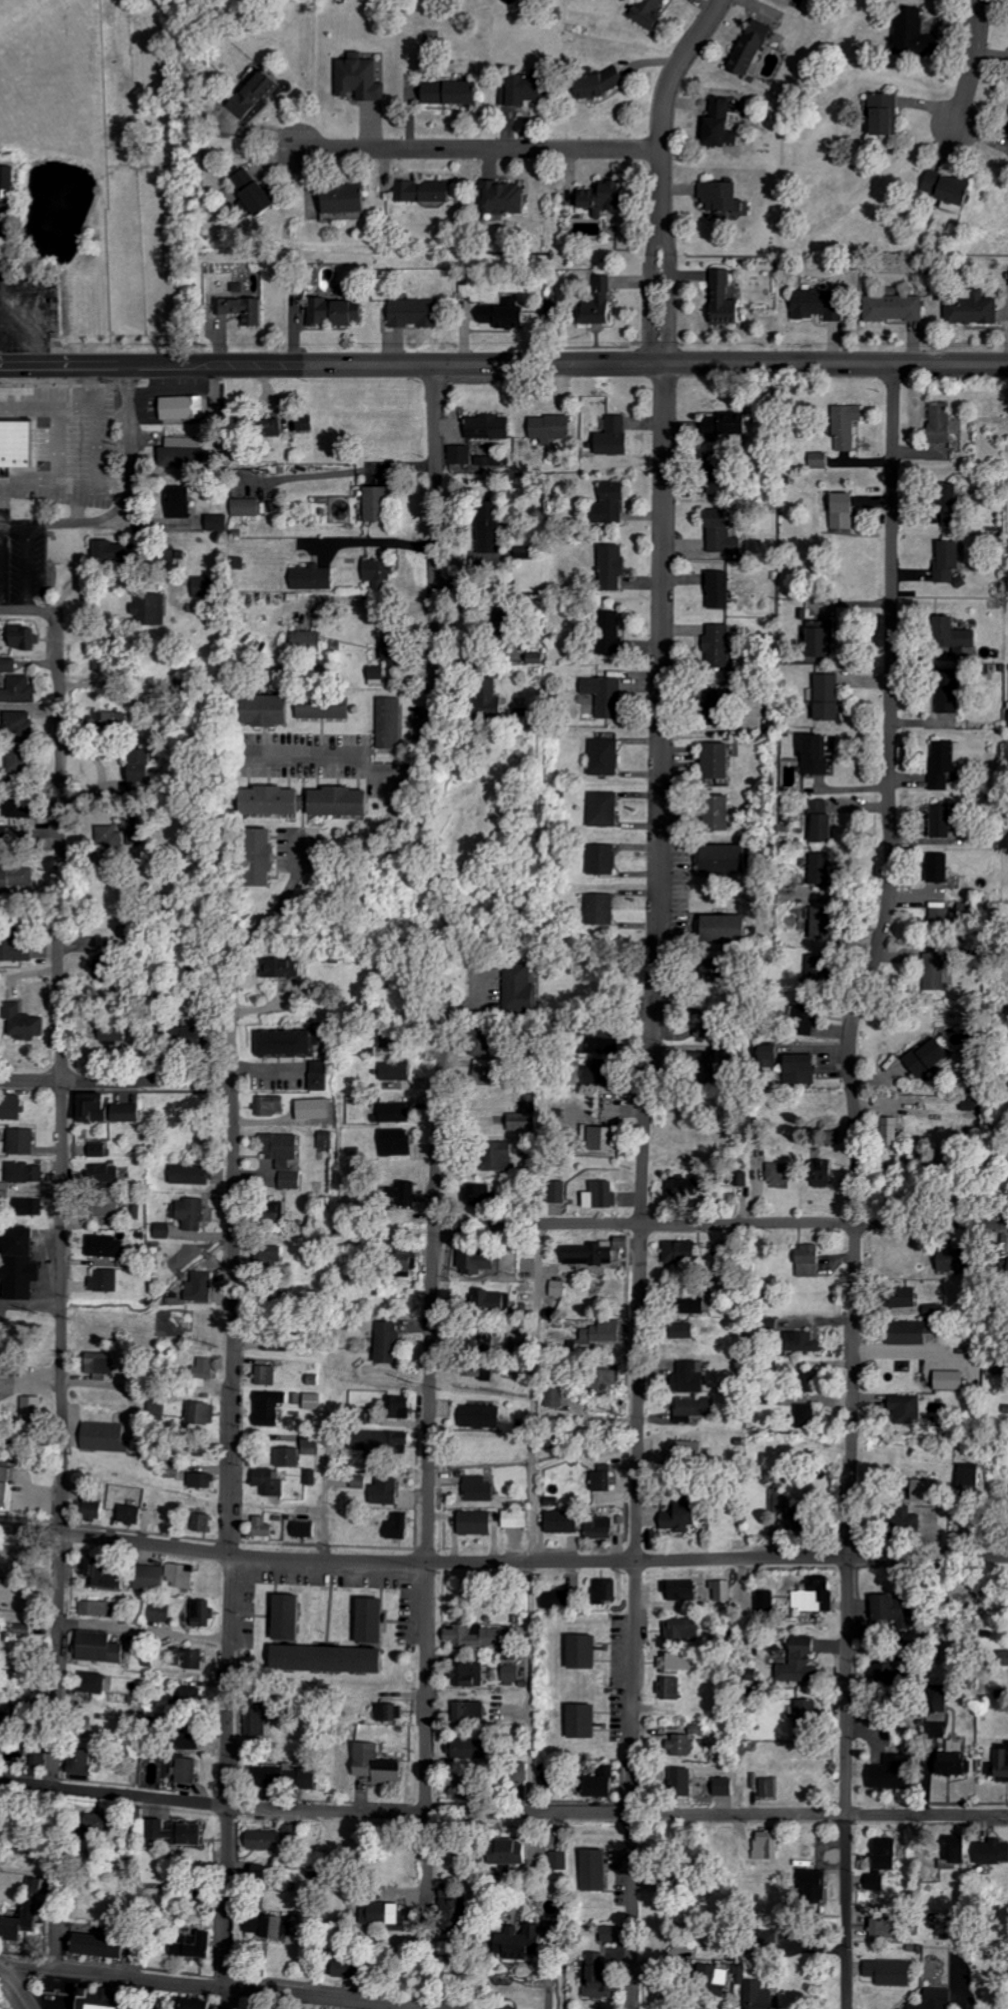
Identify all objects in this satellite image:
building: (653, 14)
building: (916, 33)
building: (431, 36)
building: (757, 48)
road: (972, 66)
building: (364, 78)
building: (607, 81)
building: (528, 85)
building: (456, 92)
building: (259, 95)
building: (889, 112)
building: (724, 122)
road: (480, 146)
road: (661, 174)
building: (8, 180)
building: (954, 187)
building: (429, 190)
building: (259, 192)
building: (508, 197)
building: (609, 197)
building: (349, 198)
building: (727, 200)
building: (726, 298)
building: (604, 301)
parking lot: (22, 303)
building: (823, 304)
building: (897, 308)
building: (976, 309)
building: (336, 311)
building: (418, 313)
road: (35, 314)
building: (508, 314)
road: (35, 349)
road: (503, 363)
road: (46, 404)
building: (198, 407)
building: (944, 422)
building: (308, 424)
building: (733, 424)
building: (849, 426)
building: (491, 427)
building: (617, 437)
building: (14, 442)
building: (183, 457)
building: (461, 457)
building: (822, 460)
road: (94, 469)
road: (128, 475)
building: (719, 484)
building: (183, 502)
building: (380, 503)
building: (612, 504)
building: (248, 507)
building: (954, 508)
building: (847, 510)
road: (12, 522)
building: (219, 523)
road: (34, 524)
building: (492, 532)
building: (724, 533)
road: (368, 543)
building: (112, 551)
building: (528, 552)
building: (951, 561)
building: (241, 563)
building: (617, 566)
road: (24, 568)
building: (380, 572)
building: (316, 578)
building: (209, 587)
building: (723, 590)
road: (359, 602)
building: (155, 609)
road: (27, 611)
building: (514, 626)
building: (615, 632)
building: (961, 633)
building: (25, 637)
building: (826, 638)
building: (311, 640)
building: (721, 644)
building: (396, 651)
building: (969, 654)
building: (100, 663)
building: (9, 667)
building: (379, 676)
road: (427, 685)
building: (20, 690)
building: (953, 690)
building: (496, 695)
building: (609, 695)
building: (831, 697)
building: (721, 707)
building: (327, 708)
building: (272, 710)
building: (113, 720)
building: (393, 723)
building: (23, 726)
road: (665, 733)
building: (821, 754)
building: (607, 757)
road: (332, 759)
building: (24, 760)
building: (722, 760)
building: (946, 763)
building: (143, 770)
building: (279, 800)
building: (344, 803)
building: (23, 808)
building: (606, 809)
building: (724, 812)
building: (826, 820)
building: (945, 821)
building: (138, 838)
building: (114, 839)
building: (266, 856)
building: (729, 858)
building: (605, 859)
building: (824, 868)
building: (942, 868)
building: (18, 878)
building: (603, 909)
building: (942, 915)
building: (826, 923)
building: (730, 928)
building: (21, 949)
building: (115, 962)
building: (283, 968)
building: (725, 970)
building: (821, 970)
building: (936, 972)
building: (522, 985)
building: (809, 1012)
building: (29, 1022)
building: (717, 1025)
building: (118, 1031)
building: (396, 1039)
building: (290, 1042)
building: (770, 1053)
building: (732, 1054)
building: (931, 1058)
building: (804, 1069)
building: (398, 1072)
building: (490, 1072)
building: (600, 1073)
building: (321, 1076)
road: (114, 1079)
building: (273, 1105)
building: (100, 1107)
building: (15, 1108)
building: (976, 1108)
building: (317, 1109)
building: (397, 1112)
building: (131, 1113)
building: (525, 1122)
building: (896, 1128)
building: (613, 1139)
building: (328, 1140)
building: (24, 1141)
building: (398, 1142)
building: (100, 1149)
building: (284, 1149)
building: (502, 1156)
building: (26, 1173)
building: (783, 1173)
building: (106, 1174)
building: (194, 1174)
building: (826, 1174)
building: (293, 1181)
road: (854, 1184)
building: (687, 1189)
building: (560, 1192)
building: (408, 1194)
building: (480, 1194)
building: (605, 1195)
building: (32, 1207)
building: (281, 1211)
building: (194, 1214)
road: (721, 1222)
building: (166, 1231)
building: (109, 1246)
building: (684, 1252)
building: (596, 1253)
building: (273, 1257)
building: (961, 1260)
building: (812, 1261)
building: (479, 1262)
building: (14, 1270)
building: (107, 1281)
building: (203, 1287)
building: (561, 1289)
road: (58, 1291)
building: (908, 1298)
building: (490, 1301)
building: (698, 1304)
building: (935, 1310)
building: (688, 1331)
building: (916, 1332)
building: (603, 1335)
building: (804, 1342)
building: (278, 1343)
building: (390, 1343)
building: (102, 1364)
building: (482, 1370)
building: (1002, 1370)
building: (206, 1372)
building: (0, 1373)
building: (269, 1376)
building: (694, 1377)
building: (811, 1381)
building: (954, 1381)
road: (528, 1394)
building: (317, 1402)
building: (34, 1407)
building: (402, 1407)
building: (699, 1407)
building: (272, 1408)
building: (909, 1409)
building: (204, 1413)
building: (808, 1416)
building: (483, 1417)
building: (108, 1438)
building: (384, 1443)
building: (313, 1445)
building: (683, 1451)
building: (290, 1457)
road: (227, 1469)
building: (177, 1472)
road: (428, 1474)
building: (605, 1477)
building: (313, 1478)
building: (205, 1481)
building: (271, 1482)
building: (6, 1486)
building: (481, 1489)
building: (931, 1491)
building: (387, 1492)
road: (322, 1499)
building: (783, 1500)
building: (97, 1509)
building: (133, 1515)
building: (684, 1515)
building: (804, 1518)
building: (518, 1519)
building: (565, 1522)
building: (205, 1523)
building: (478, 1523)
building: (266, 1527)
building: (401, 1527)
building: (306, 1529)
building: (602, 1529)
road: (636, 1554)
road: (503, 1564)
building: (0, 1573)
building: (105, 1575)
building: (167, 1577)
building: (683, 1590)
building: (606, 1591)
building: (723, 1591)
building: (818, 1599)
building: (559, 1600)
building: (767, 1601)
building: (100, 1609)
building: (894, 1611)
building: (163, 1612)
building: (204, 1613)
building: (291, 1618)
building: (376, 1620)
building: (687, 1628)
road: (142, 1629)
building: (480, 1636)
building: (105, 1648)
building: (588, 1650)
building: (332, 1658)
building: (677, 1662)
building: (191, 1663)
building: (803, 1664)
building: (470, 1674)
building: (514, 1674)
building: (899, 1676)
building: (99, 1681)
building: (673, 1687)
road: (527, 1688)
building: (192, 1698)
building: (9, 1708)
building: (472, 1710)
building: (392, 1712)
building: (264, 1715)
building: (809, 1716)
building: (587, 1720)
building: (196, 1740)
building: (683, 1744)
building: (474, 1748)
building: (46, 1753)
building: (90, 1762)
building: (380, 1763)
building: (957, 1763)
building: (1001, 1766)
building: (192, 1769)
building: (893, 1772)
building: (290, 1775)
building: (553, 1781)
building: (685, 1781)
building: (607, 1783)
building: (471, 1785)
building: (728, 1786)
building: (771, 1787)
road: (503, 1813)
building: (183, 1830)
building: (293, 1832)
building: (267, 1840)
building: (769, 1846)
building: (521, 1851)
building: (995, 1851)
building: (562, 1860)
building: (889, 1865)
building: (599, 1869)
building: (812, 1885)
building: (463, 1896)
building: (392, 1911)
building: (16, 1920)
building: (26, 1922)
building: (282, 1924)
building: (887, 1927)
building: (534, 1938)
building: (94, 1944)
building: (199, 1945)
building: (742, 1953)
building: (355, 1967)
building: (893, 1972)
building: (730, 1974)
building: (604, 1975)
road: (205, 1984)
road: (13, 1991)
building: (770, 1996)
building: (96, 1999)
building: (937, 1999)
building: (198, 2003)
building: (7, 2008)

